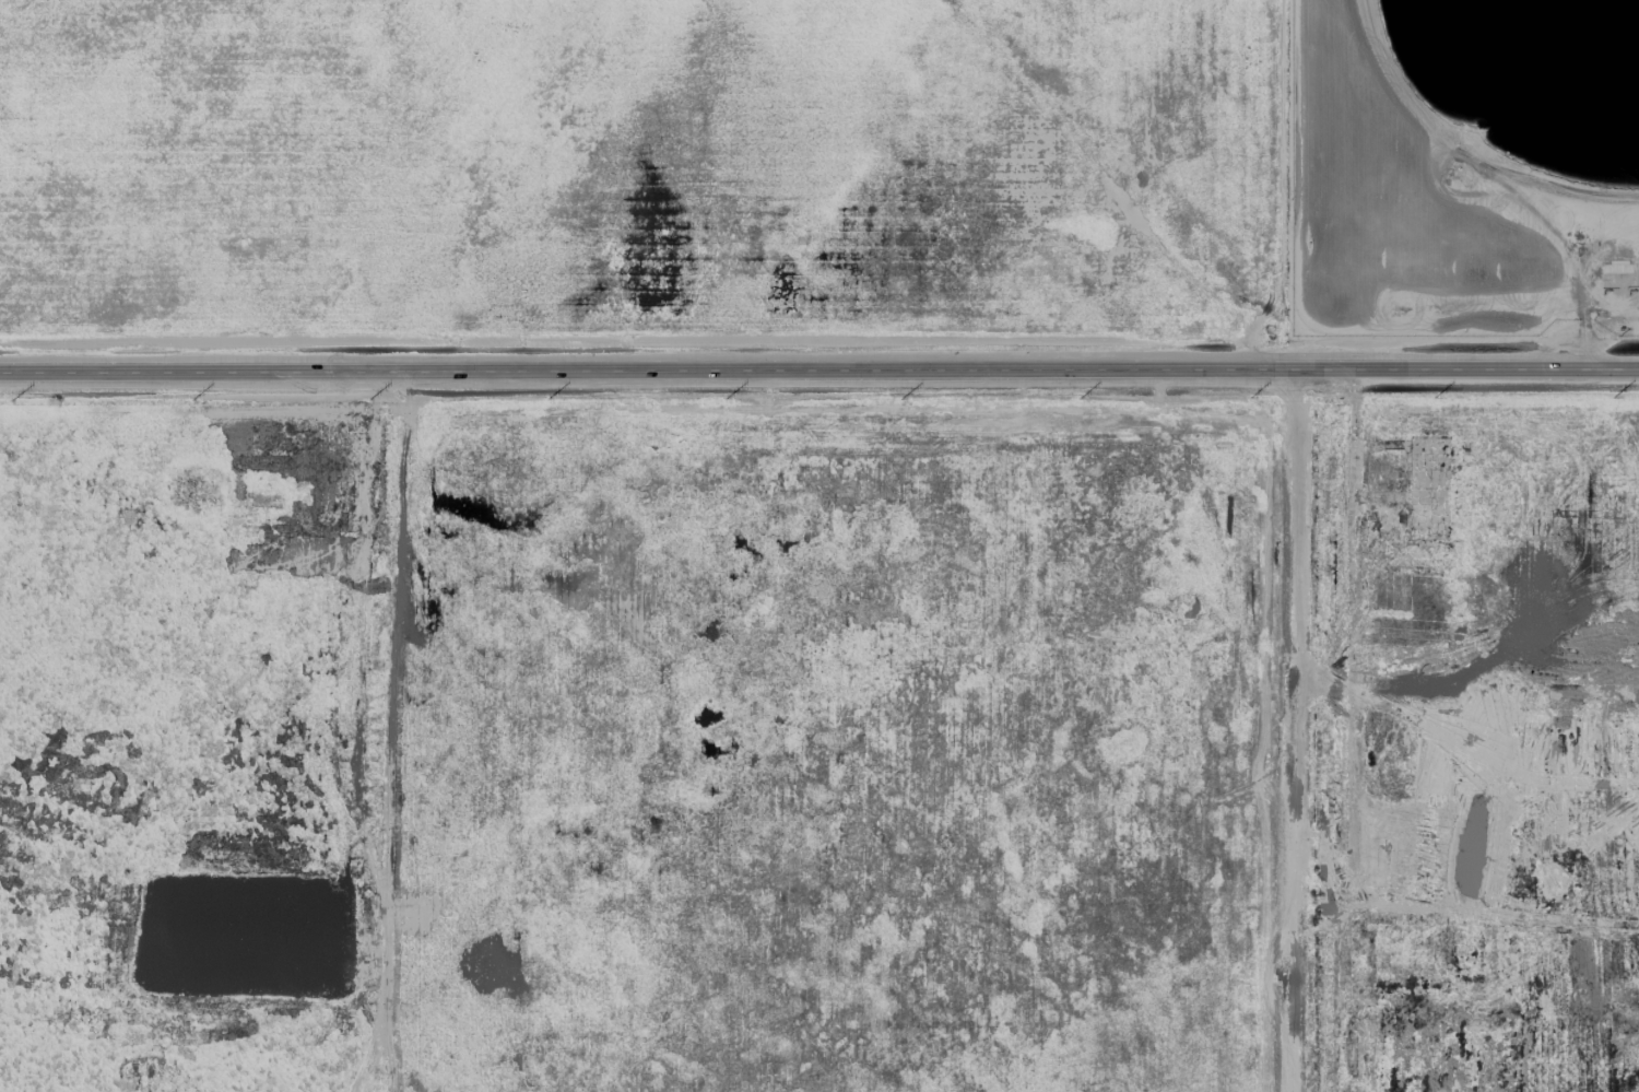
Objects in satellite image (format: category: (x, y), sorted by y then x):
road: (819, 369)
road: (1293, 729)

